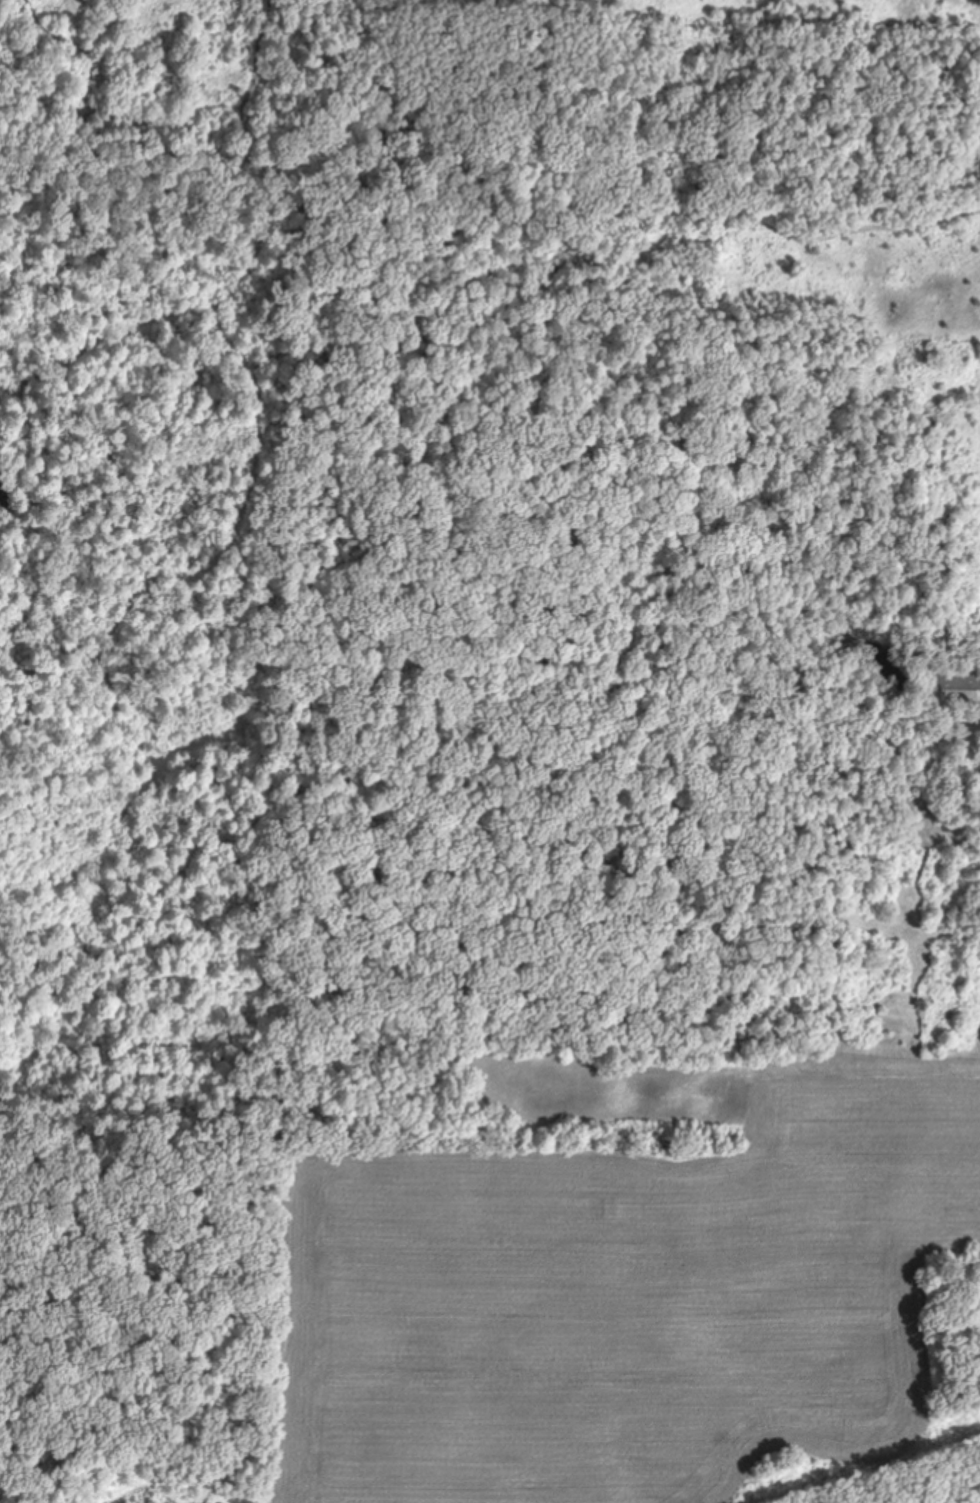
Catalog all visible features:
crop: (618, 1303)

